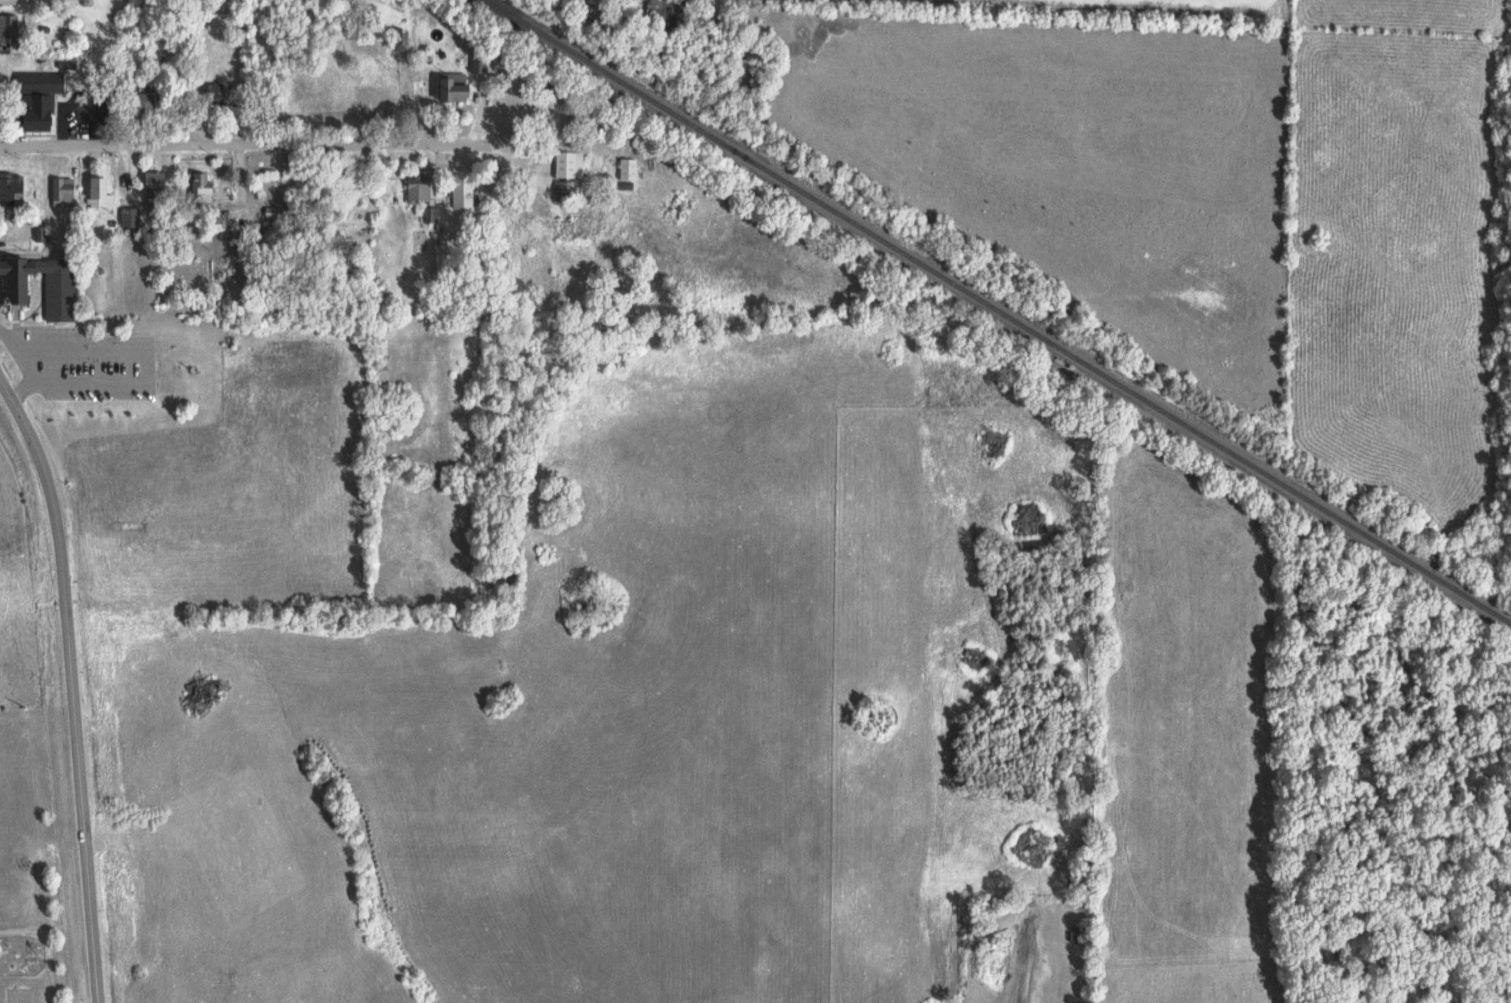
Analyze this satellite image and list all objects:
building: (8, 28)
building: (457, 87)
building: (215, 95)
building: (40, 100)
building: (147, 108)
road: (221, 143)
building: (566, 182)
building: (12, 188)
building: (98, 188)
building: (420, 188)
building: (158, 189)
building: (464, 192)
building: (64, 193)
building: (204, 193)
building: (275, 215)
building: (430, 215)
building: (131, 217)
building: (16, 291)
railway: (1002, 311)
road: (71, 685)

